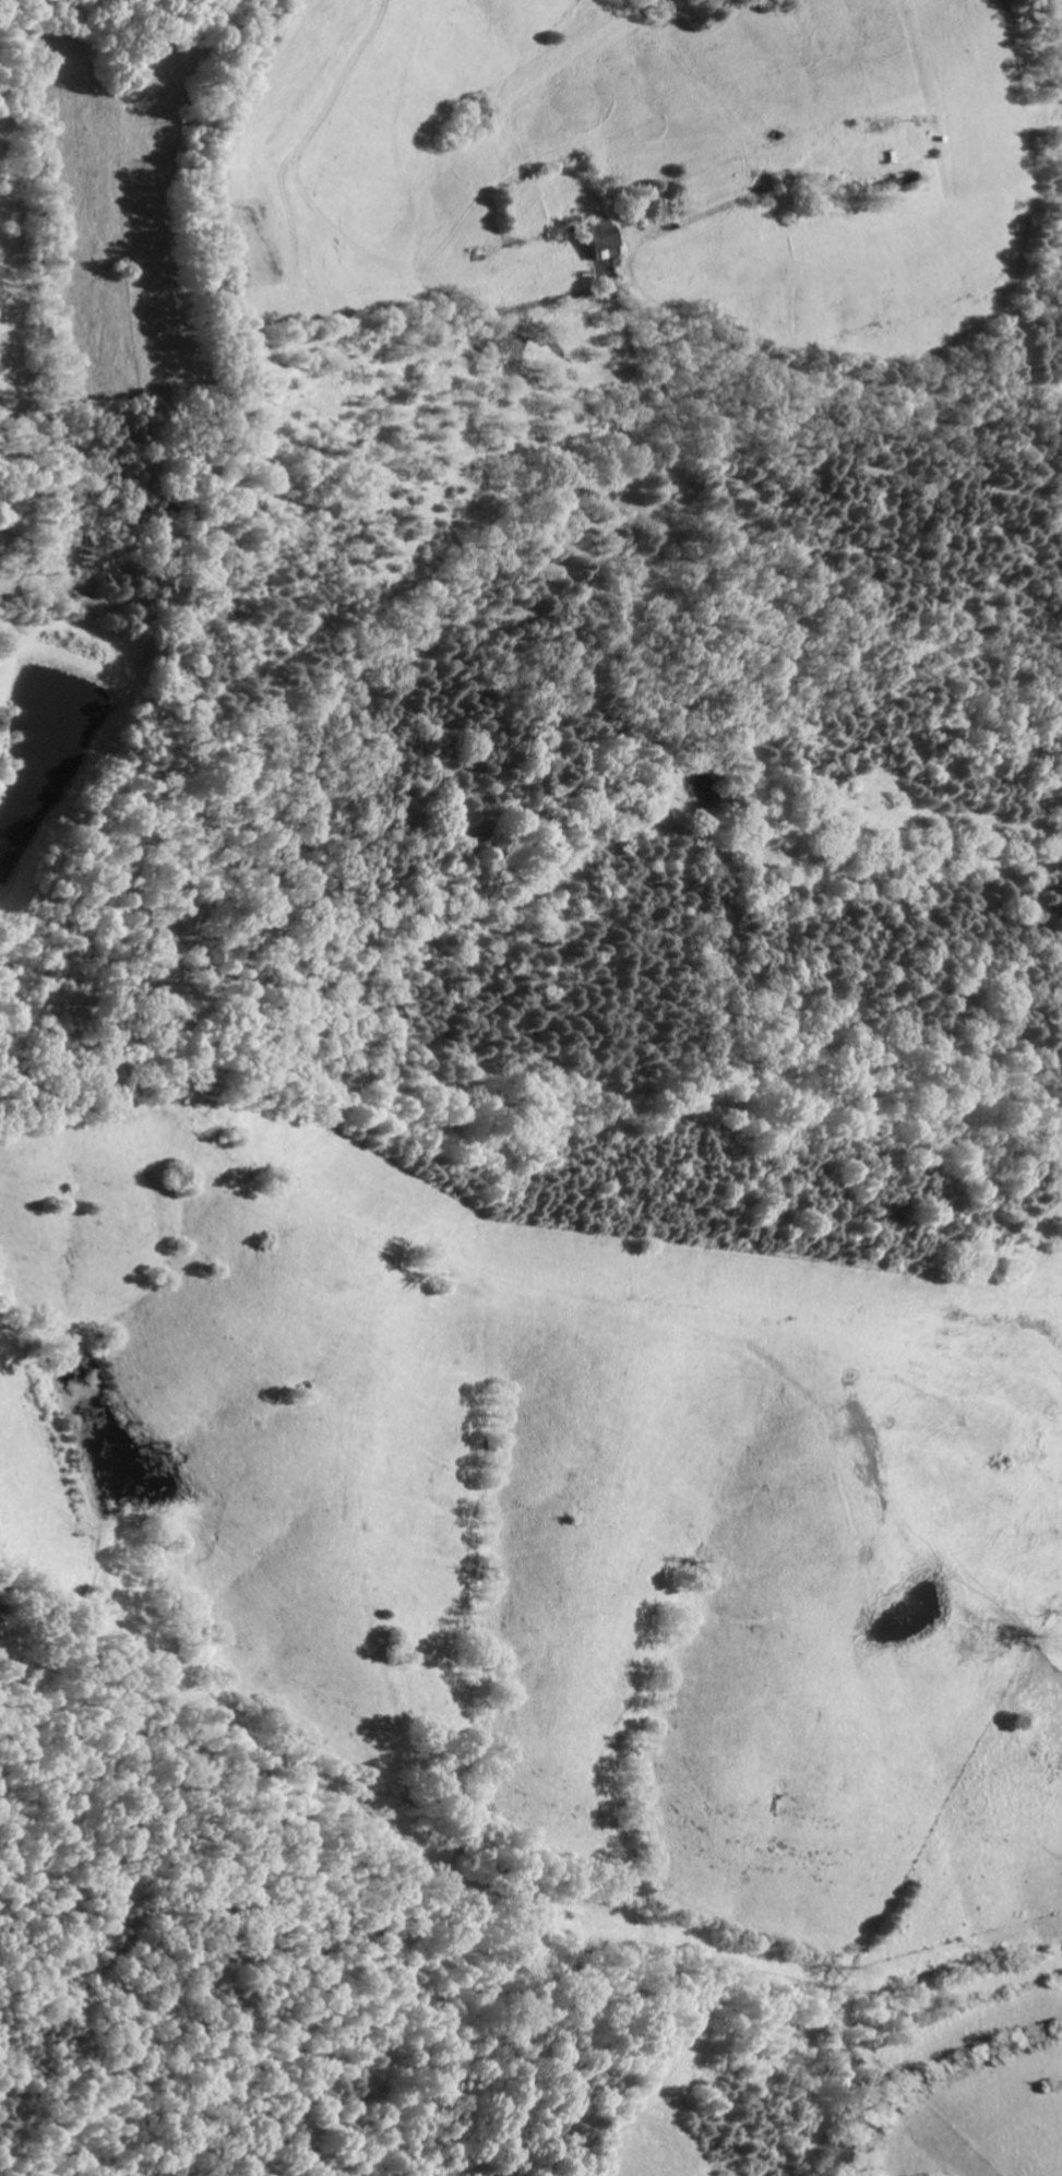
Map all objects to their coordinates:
road: (235, 152)
road: (490, 233)
building: (606, 242)
road: (608, 272)
road: (356, 274)
road: (781, 280)
road: (1017, 349)

